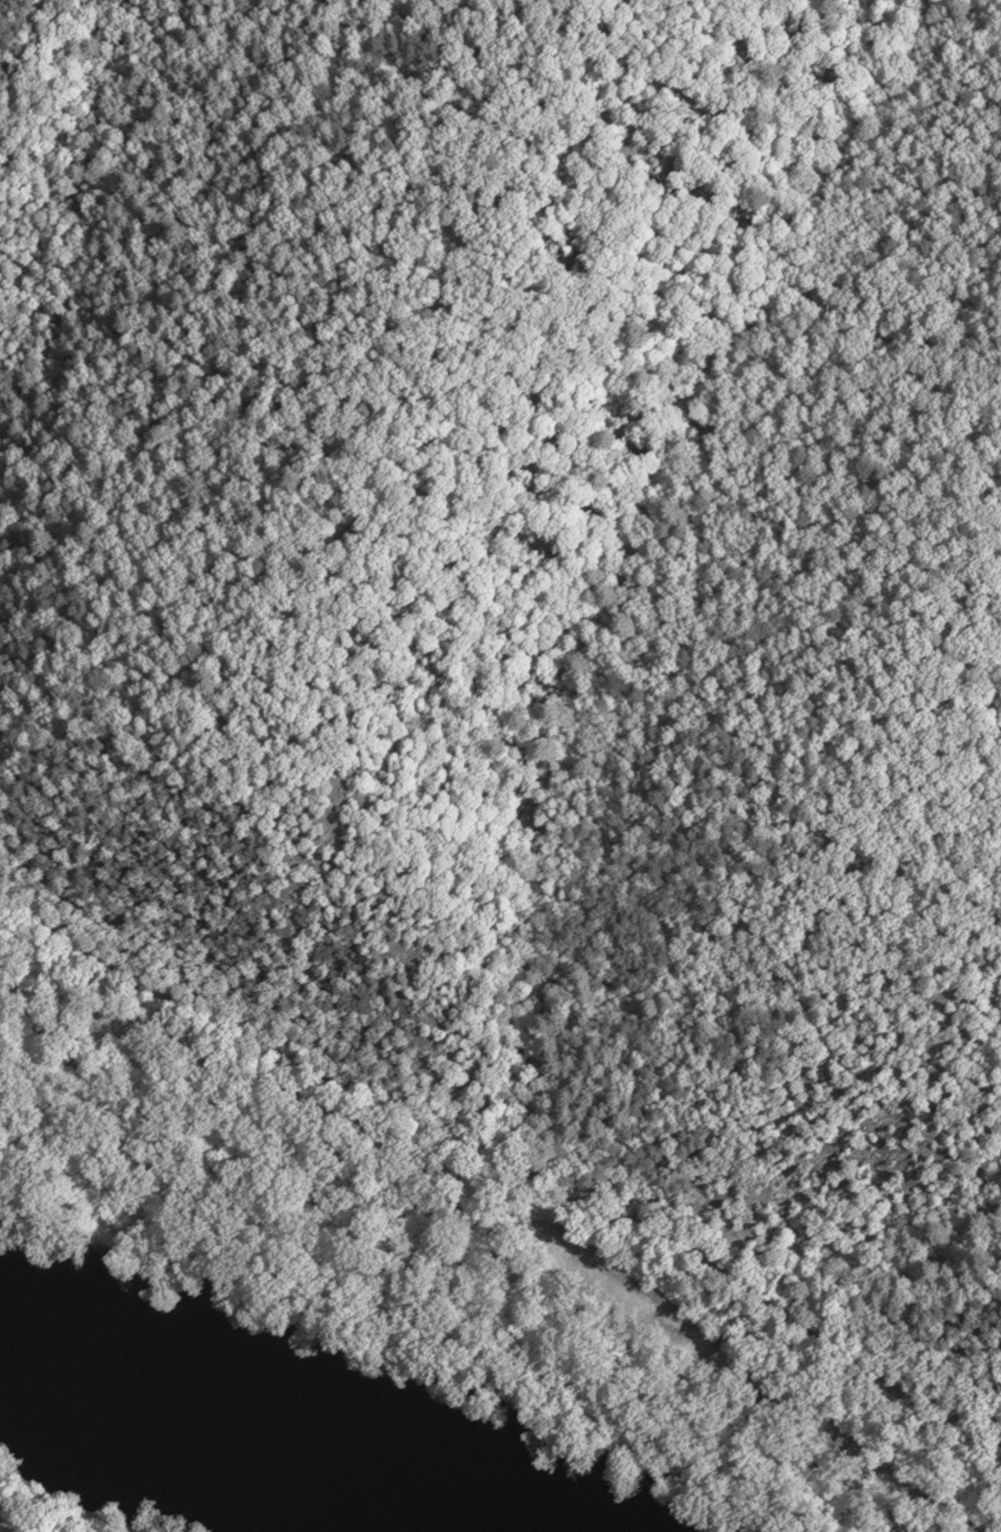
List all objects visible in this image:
road: (509, 1166)
road: (472, 1245)
river: (226, 1429)

